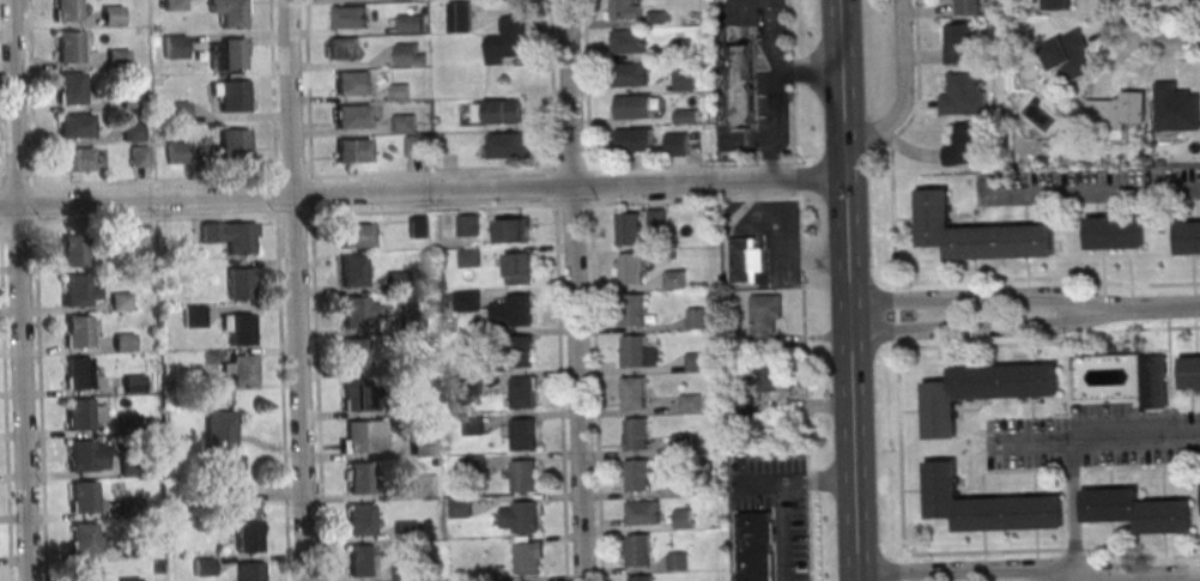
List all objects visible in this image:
building: (175, 5)
building: (1054, 5)
building: (966, 7)
building: (67, 10)
building: (624, 10)
building: (230, 12)
road: (1128, 13)
building: (111, 14)
building: (349, 17)
building: (460, 18)
building: (410, 24)
road: (1166, 38)
building: (504, 41)
building: (628, 41)
building: (962, 43)
building: (175, 46)
building: (69, 47)
building: (343, 47)
building: (681, 48)
building: (229, 53)
building: (407, 55)
building: (1068, 56)
building: (117, 58)
road: (1174, 59)
building: (630, 73)
road: (795, 75)
building: (684, 79)
building: (353, 81)
building: (739, 86)
building: (71, 87)
road: (31, 90)
building: (399, 91)
building: (234, 95)
road: (902, 95)
building: (964, 95)
building: (132, 97)
building: (632, 107)
building: (1175, 108)
building: (178, 111)
building: (497, 111)
building: (1116, 111)
building: (353, 116)
building: (75, 125)
building: (404, 125)
building: (132, 132)
building: (634, 139)
building: (236, 144)
building: (675, 144)
building: (508, 145)
building: (966, 145)
building: (417, 146)
building: (353, 150)
building: (176, 151)
building: (139, 156)
building: (75, 158)
road: (516, 169)
road: (422, 190)
road: (1098, 194)
road: (0, 213)
building: (655, 218)
building: (467, 224)
building: (418, 226)
building: (628, 229)
building: (511, 230)
building: (976, 232)
building: (1114, 232)
building: (357, 235)
building: (141, 236)
building: (240, 237)
building: (1188, 237)
building: (74, 250)
building: (468, 258)
building: (746, 260)
building: (517, 267)
building: (631, 268)
building: (353, 271)
road: (1047, 277)
building: (675, 279)
building: (240, 282)
road: (893, 286)
road: (18, 290)
building: (77, 290)
road: (279, 290)
road: (296, 290)
road: (314, 290)
road: (574, 290)
road: (843, 290)
road: (971, 295)
building: (466, 299)
road: (1147, 308)
building: (517, 309)
building: (634, 310)
building: (354, 311)
building: (194, 315)
building: (696, 317)
building: (764, 319)
road: (971, 325)
building: (240, 328)
building: (79, 331)
road: (1048, 341)
building: (125, 344)
building: (517, 351)
building: (635, 351)
building: (354, 353)
building: (408, 357)
building: (696, 361)
road: (802, 367)
building: (243, 370)
building: (79, 373)
building: (1189, 373)
building: (764, 375)
road: (40, 381)
building: (133, 382)
building: (1152, 382)
building: (521, 392)
building: (980, 392)
building: (635, 393)
building: (357, 395)
road: (5, 401)
building: (691, 404)
building: (80, 413)
building: (636, 434)
building: (522, 435)
building: (358, 436)
road: (1110, 436)
parking lot: (1092, 440)
building: (422, 444)
building: (220, 447)
building: (86, 455)
building: (521, 476)
building: (637, 476)
building: (360, 477)
road: (793, 480)
building: (424, 485)
building: (85, 496)
building: (984, 506)
building: (459, 507)
road: (1072, 509)
building: (1135, 509)
building: (643, 513)
building: (525, 516)
building: (681, 518)
building: (362, 519)
building: (248, 529)
building: (406, 529)
road: (783, 531)
building: (84, 538)
building: (756, 546)
building: (640, 551)
building: (527, 558)
building: (362, 561)
building: (678, 561)
building: (204, 565)
road: (952, 568)
building: (249, 570)
building: (402, 570)
building: (84, 571)
building: (641, 577)
road: (1121, 577)
building: (129, 579)

